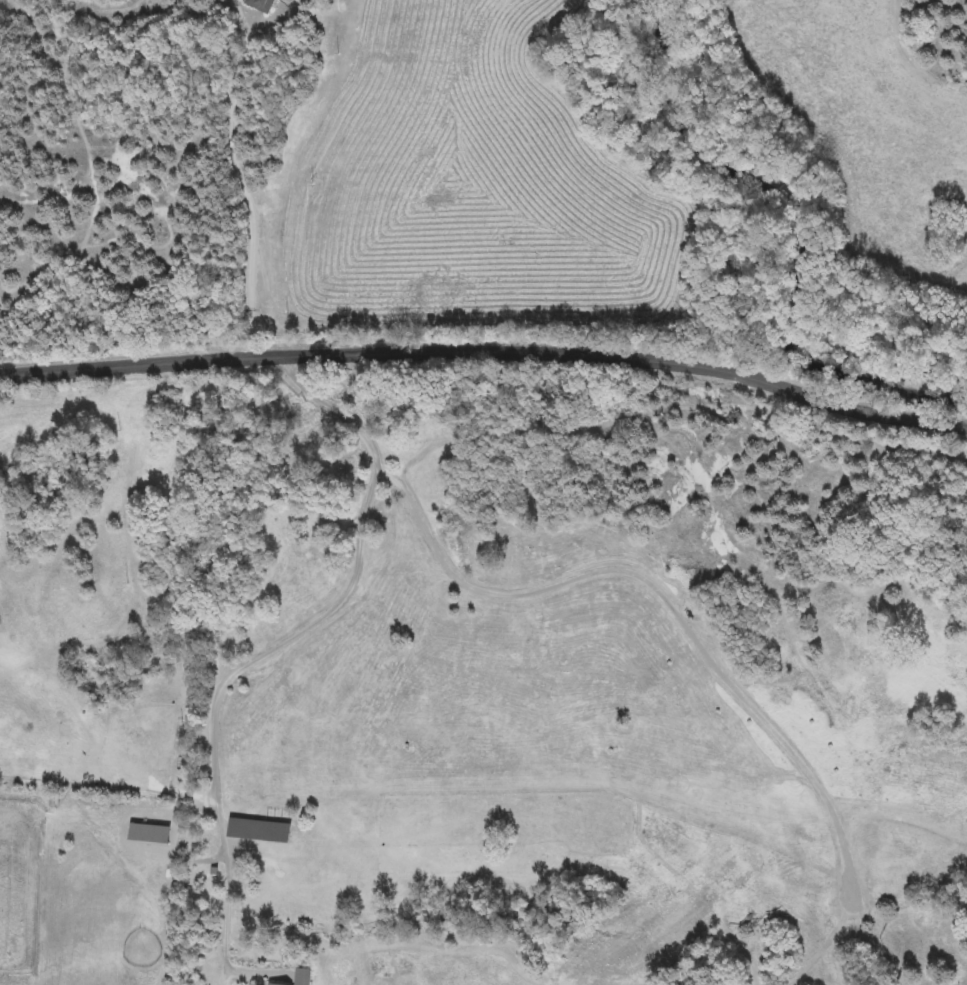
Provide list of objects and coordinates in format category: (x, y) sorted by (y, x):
building: (257, 4)
road: (244, 177)
road: (487, 347)
road: (662, 599)
road: (282, 644)
building: (255, 830)
building: (145, 833)
building: (299, 977)

